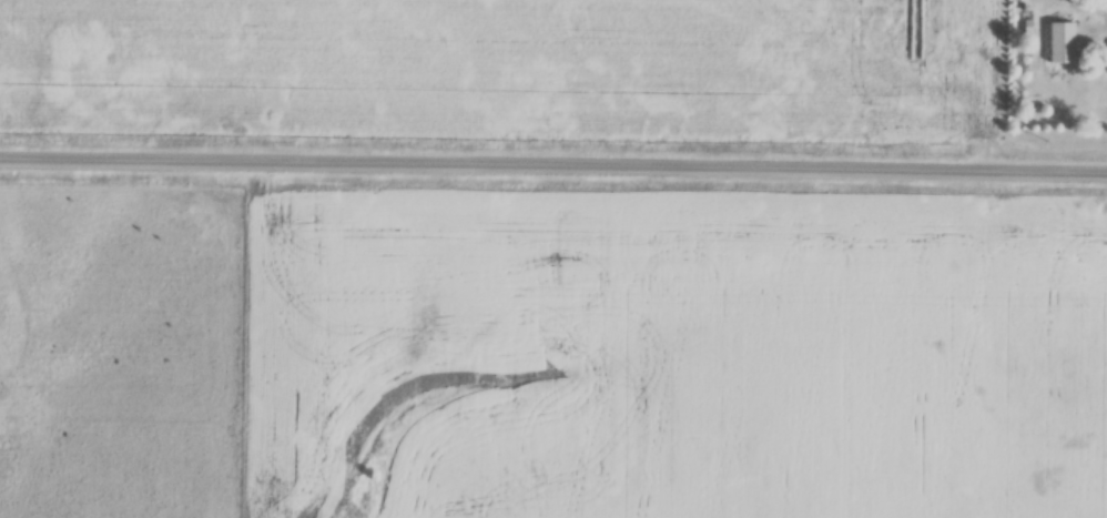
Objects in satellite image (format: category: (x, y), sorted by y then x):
building: (1059, 45)
road: (553, 170)

